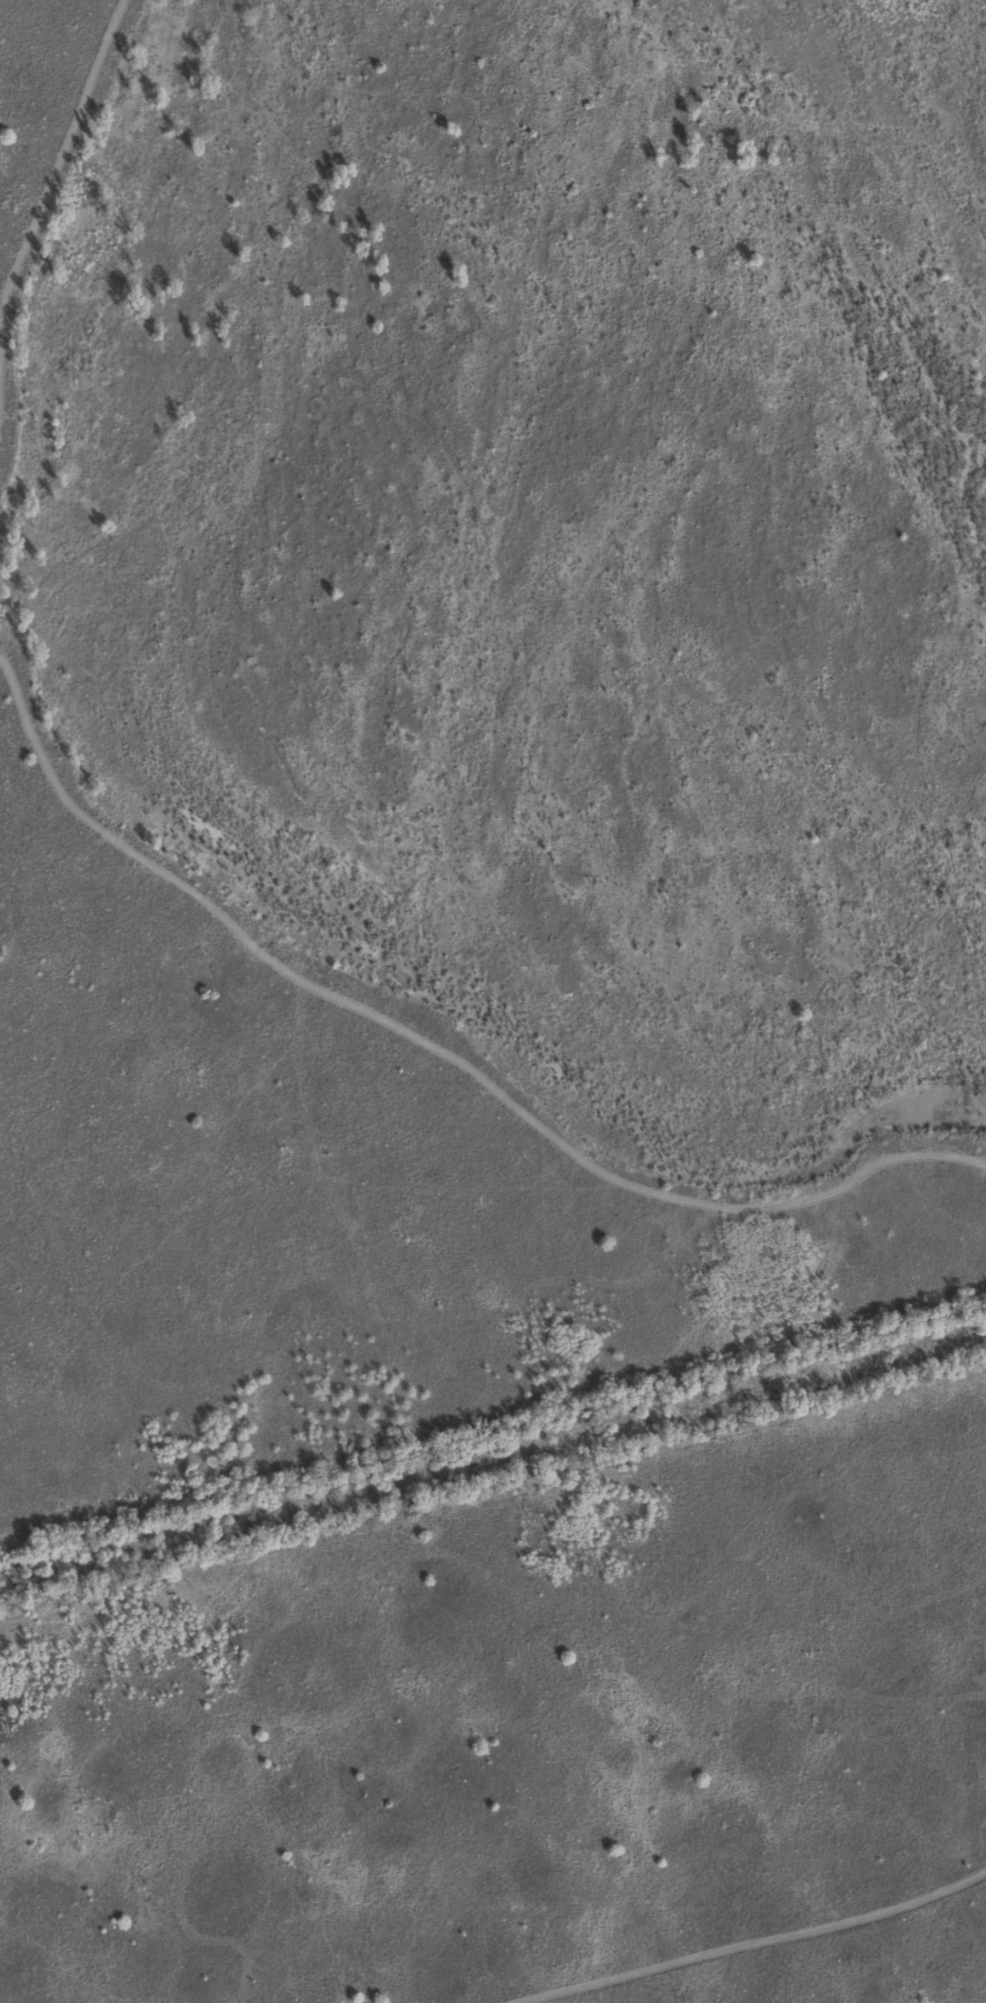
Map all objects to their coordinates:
road: (60, 152)
road: (438, 1044)

